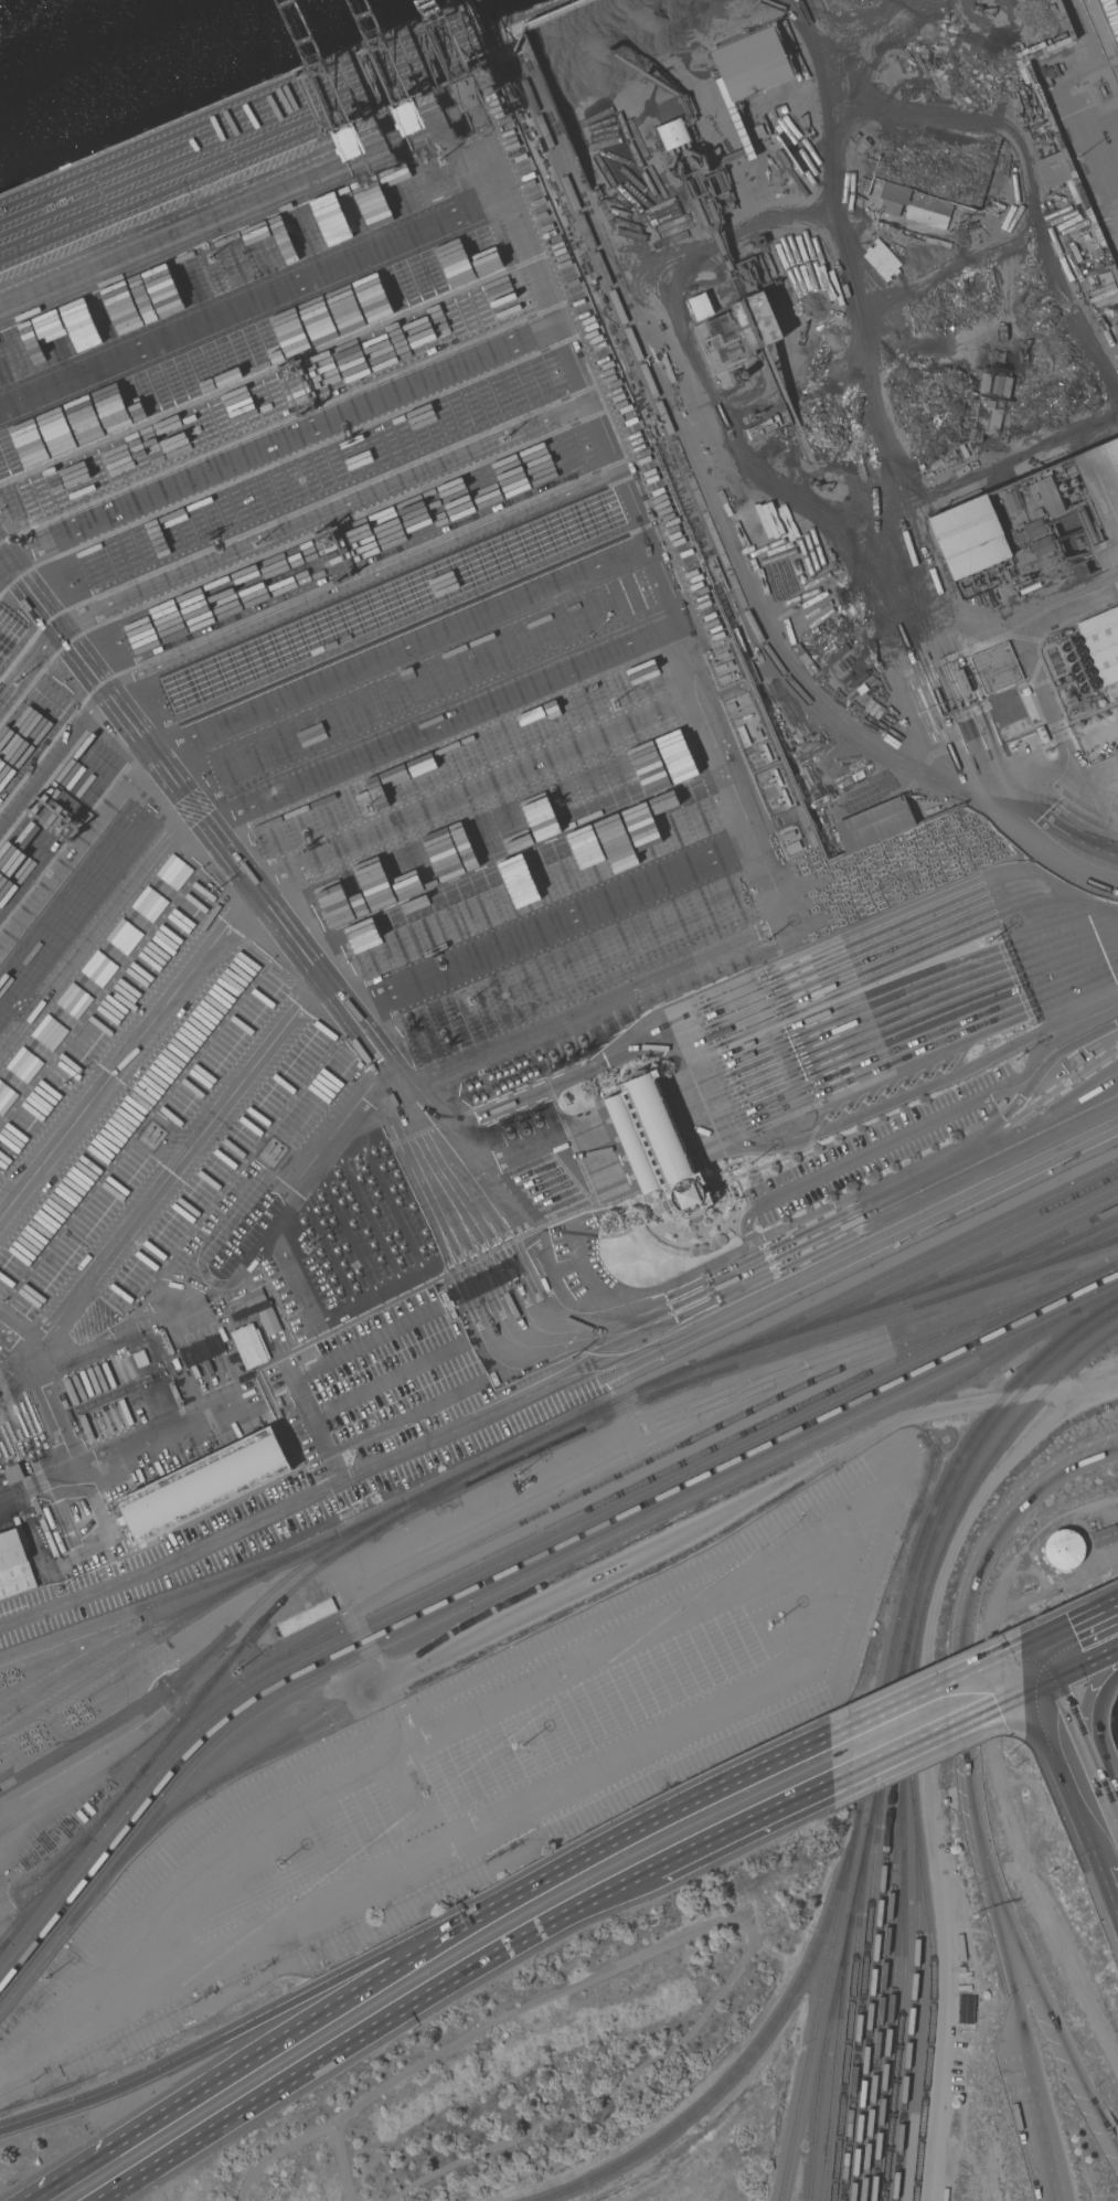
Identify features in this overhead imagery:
building: (752, 64)
building: (673, 134)
building: (1054, 169)
building: (893, 198)
building: (928, 211)
building: (701, 307)
building: (745, 313)
building: (997, 371)
building: (987, 418)
building: (936, 464)
railway: (692, 465)
railway: (696, 465)
building: (1032, 524)
railway: (723, 553)
road: (1065, 591)
building: (1103, 644)
building: (997, 668)
building: (1066, 679)
building: (961, 682)
road: (1061, 722)
building: (1042, 734)
building: (874, 823)
road: (243, 874)
road: (891, 1022)
building: (1078, 1059)
road: (645, 1126)
building: (657, 1147)
road: (556, 1165)
railway: (1044, 1244)
road: (795, 1245)
railway: (1100, 1245)
railway: (1010, 1251)
railway: (1066, 1255)
railway: (977, 1256)
railway: (1033, 1261)
railway: (943, 1262)
railway: (908, 1267)
building: (262, 1317)
railway: (833, 1335)
building: (166, 1341)
building: (251, 1346)
building: (140, 1359)
building: (175, 1363)
road: (311, 1367)
road: (560, 1376)
road: (387, 1380)
building: (175, 1394)
road: (404, 1415)
railway: (533, 1442)
railway: (535, 1454)
building: (13, 1472)
building: (203, 1485)
railway: (590, 1490)
railway: (619, 1496)
building: (49, 1518)
building: (1104, 1537)
building: (58, 1542)
building: (1063, 1549)
railway: (511, 1559)
building: (14, 1562)
railway: (651, 1570)
railway: (510, 1571)
railway: (509, 1588)
railway: (169, 1598)
railway: (515, 1601)
building: (306, 1617)
road: (1078, 1618)
railway: (532, 1629)
traffic signals: (1039, 1637)
road: (1024, 1642)
road: (1001, 1654)
railway: (131, 1655)
road: (1046, 1658)
railway: (205, 1659)
road: (966, 1665)
road: (1086, 1666)
road: (1020, 1671)
railway: (216, 1679)
traffic signals: (1054, 1680)
road: (1042, 1687)
traffic signals: (1030, 1693)
road: (913, 1695)
road: (1018, 1699)
railway: (880, 1715)
railway: (893, 1723)
railway: (907, 1733)
road: (1097, 1743)
road: (920, 1746)
road: (1079, 1746)
railway: (134, 1753)
building: (946, 1800)
road: (1073, 1807)
road: (659, 1818)
road: (1111, 1829)
railway: (71, 1849)
railway: (47, 1884)
railway: (881, 1914)
railway: (4, 1947)
railway: (934, 1949)
railway: (865, 1974)
railway: (906, 1976)
road: (462, 1980)
road: (1016, 1996)
railway: (915, 1999)
building: (966, 2010)
railway: (851, 2013)
road: (1051, 2024)
railway: (892, 2027)
road: (246, 2029)
railway: (756, 2051)
road: (260, 2055)
railway: (838, 2058)
road: (1036, 2125)
road: (1105, 2128)
road: (145, 2190)

